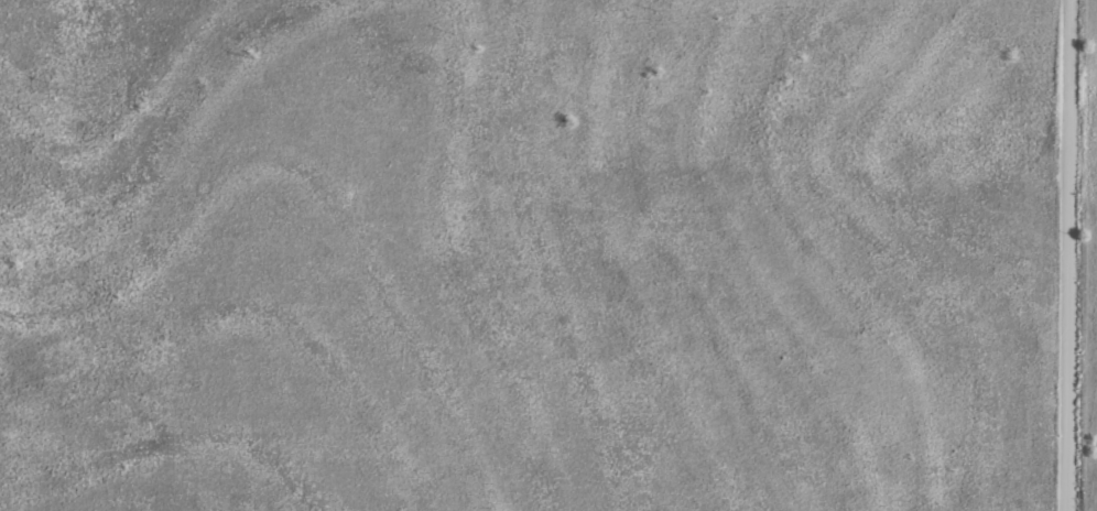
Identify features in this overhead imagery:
road: (1071, 255)

